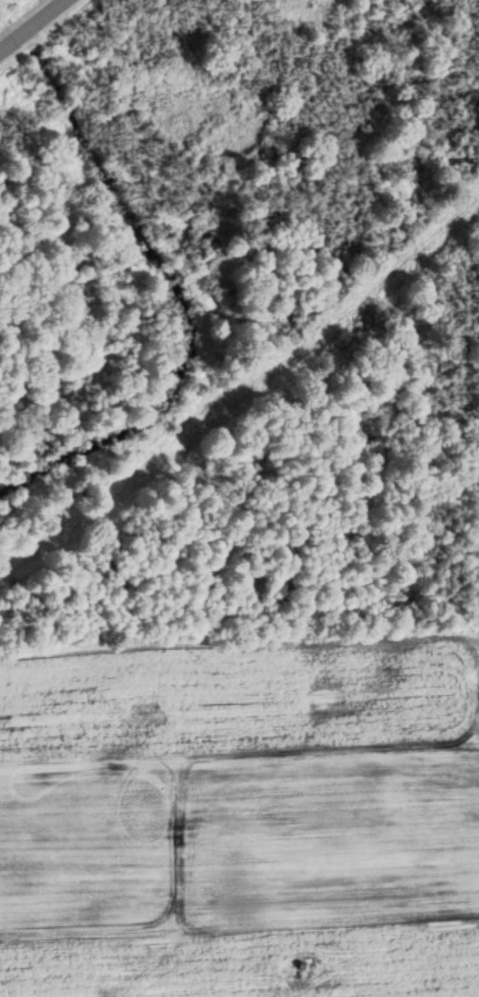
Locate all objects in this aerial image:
road: (23, 18)

